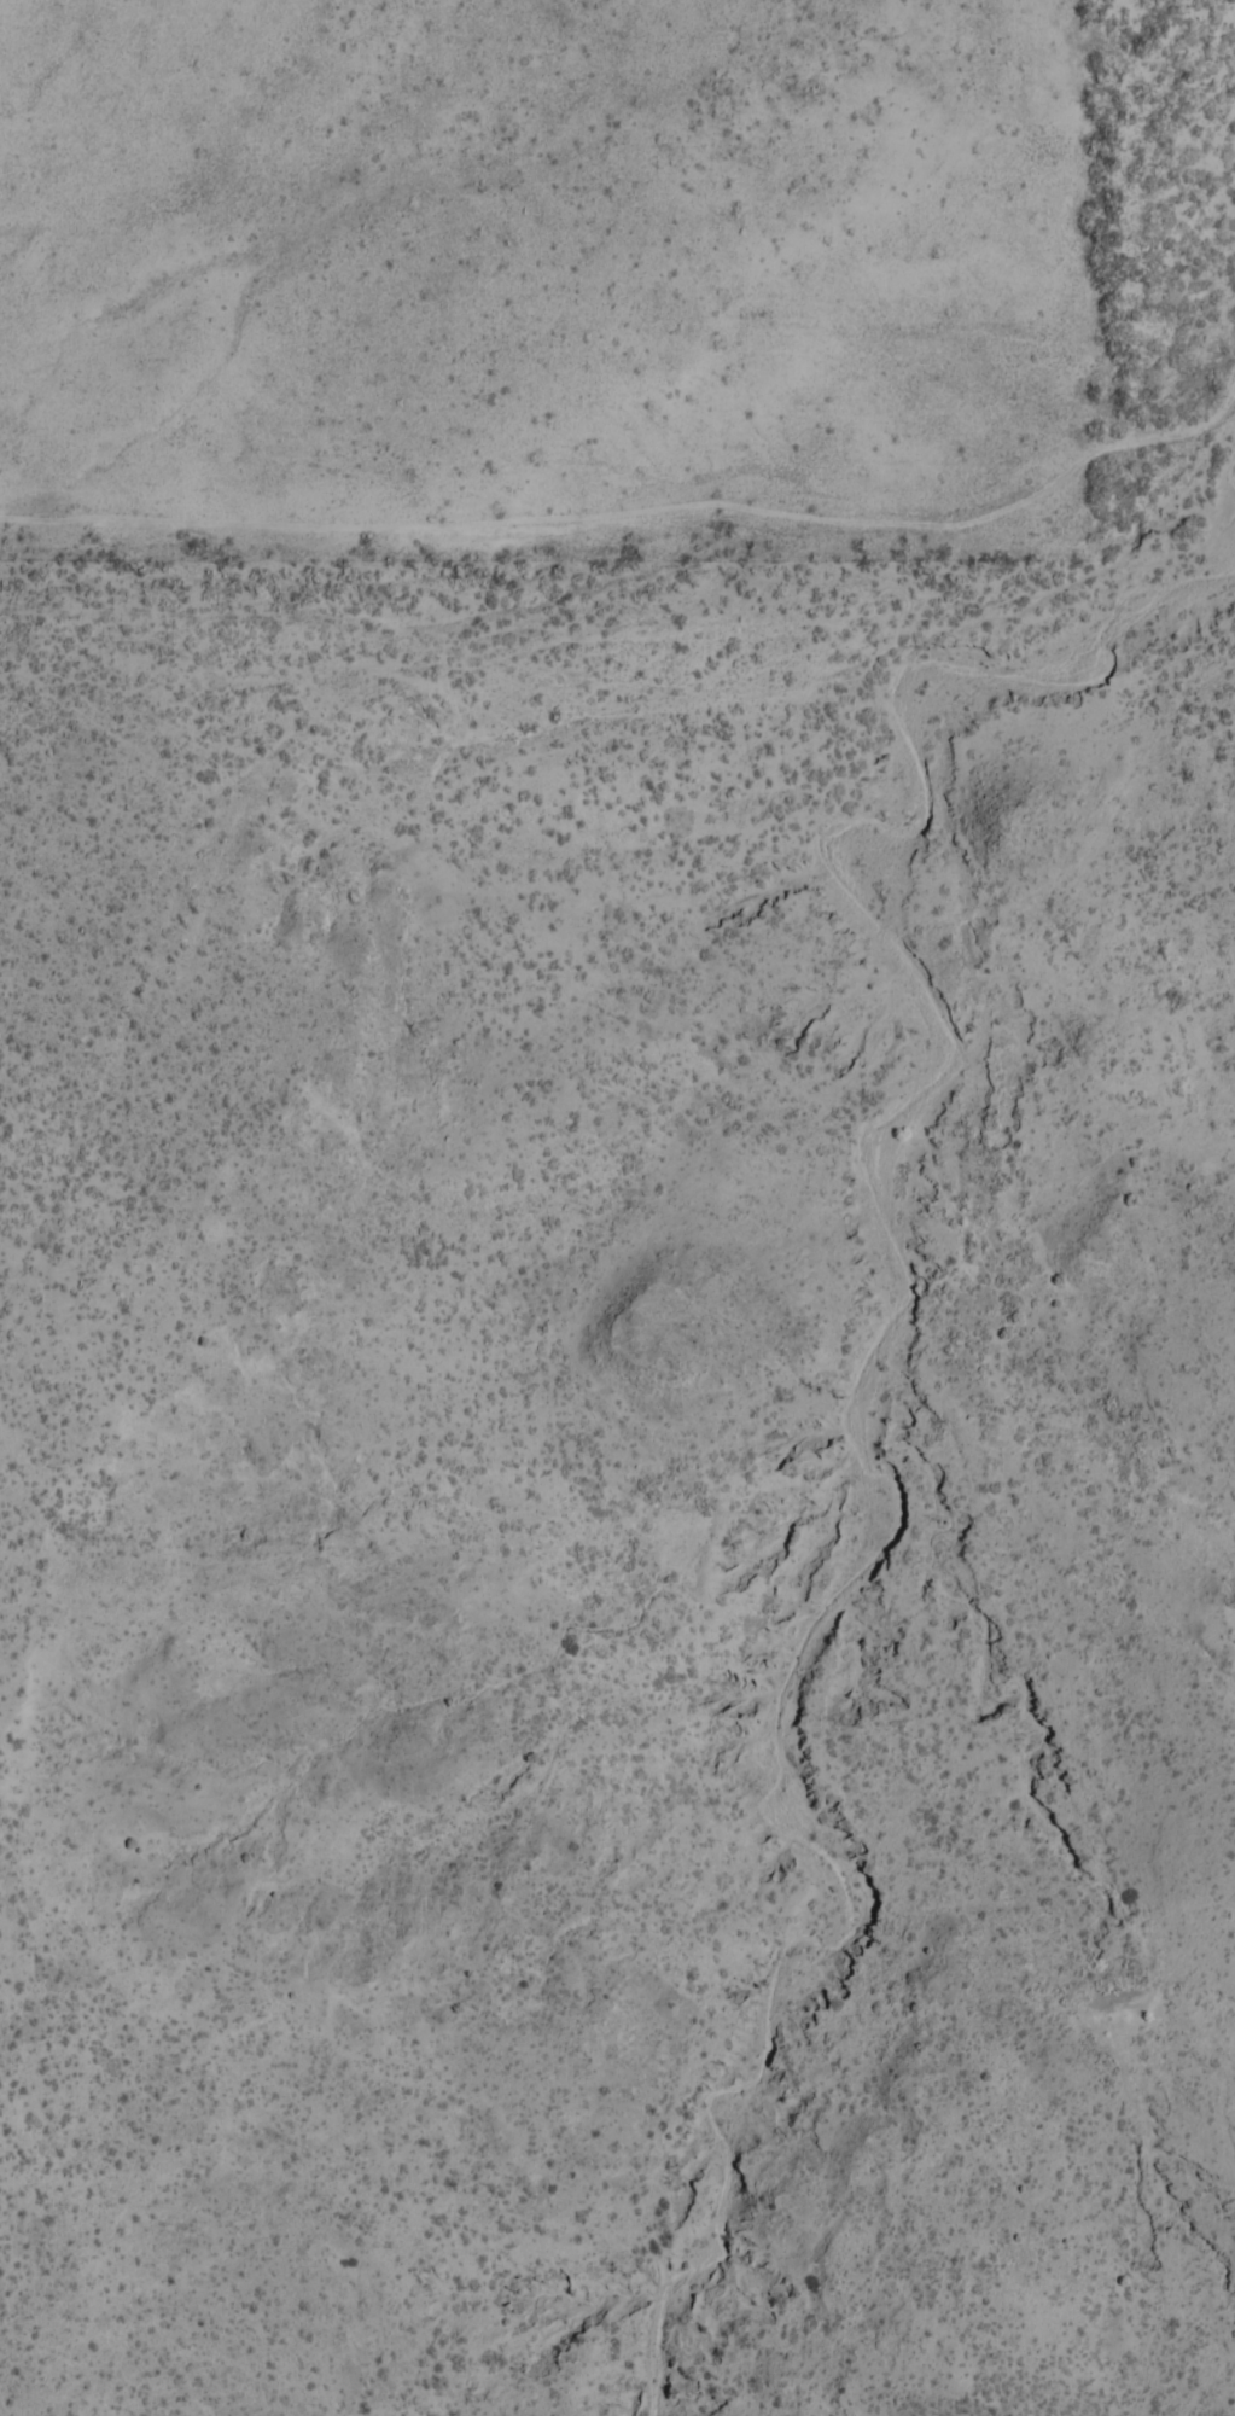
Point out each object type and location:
road: (1189, 406)

